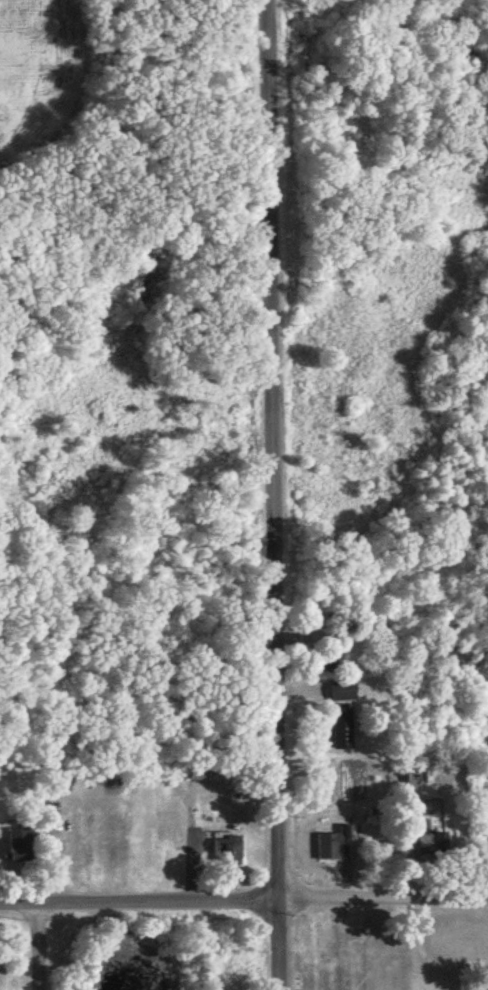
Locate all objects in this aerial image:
road: (274, 430)
building: (339, 690)
building: (339, 727)
building: (409, 781)
building: (13, 836)
building: (330, 841)
building: (7, 861)
road: (384, 902)
road: (139, 904)
road: (280, 924)
road: (39, 948)

